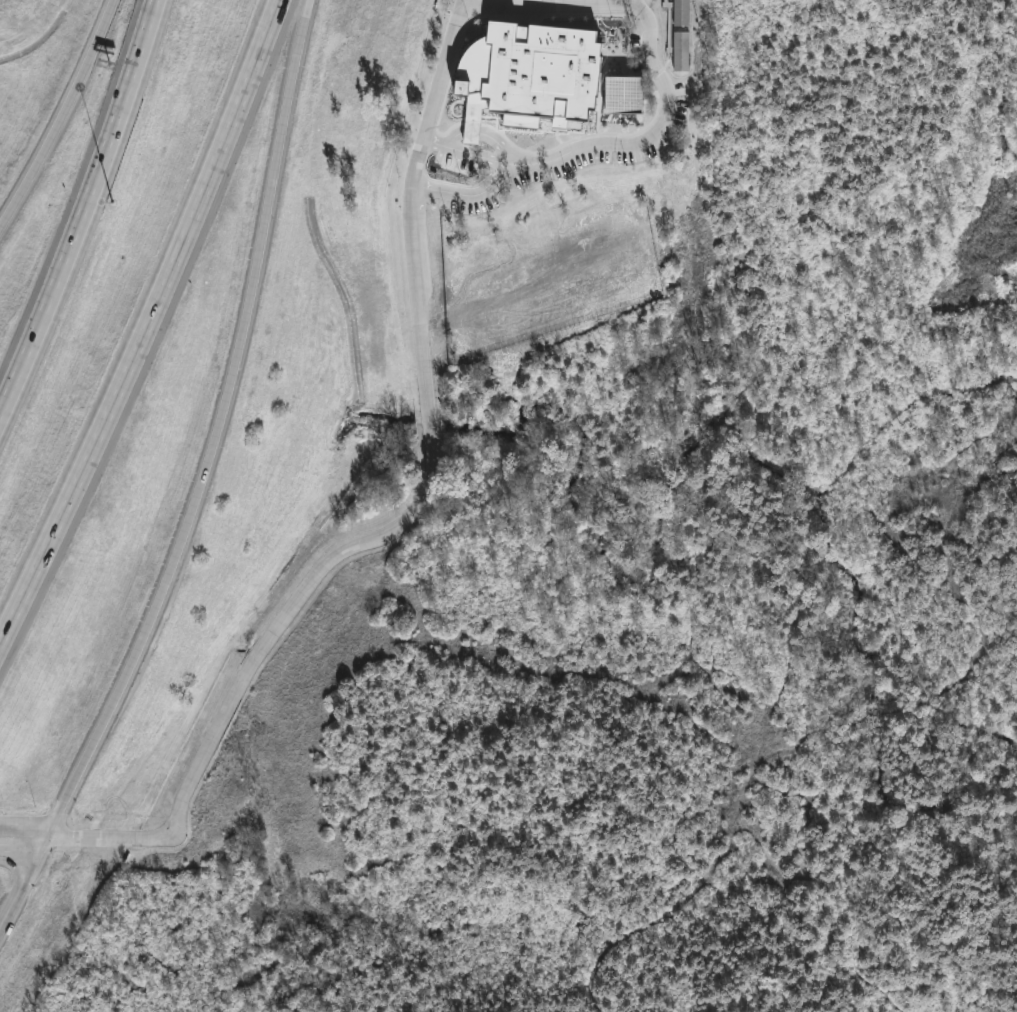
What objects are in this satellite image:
road: (464, 1)
building: (681, 12)
building: (681, 51)
building: (531, 75)
building: (627, 94)
road: (62, 115)
building: (682, 119)
road: (649, 146)
street lamp: (111, 200)
road: (83, 206)
road: (147, 325)
road: (216, 432)
road: (428, 476)
road: (21, 832)
road: (21, 846)
road: (22, 881)

